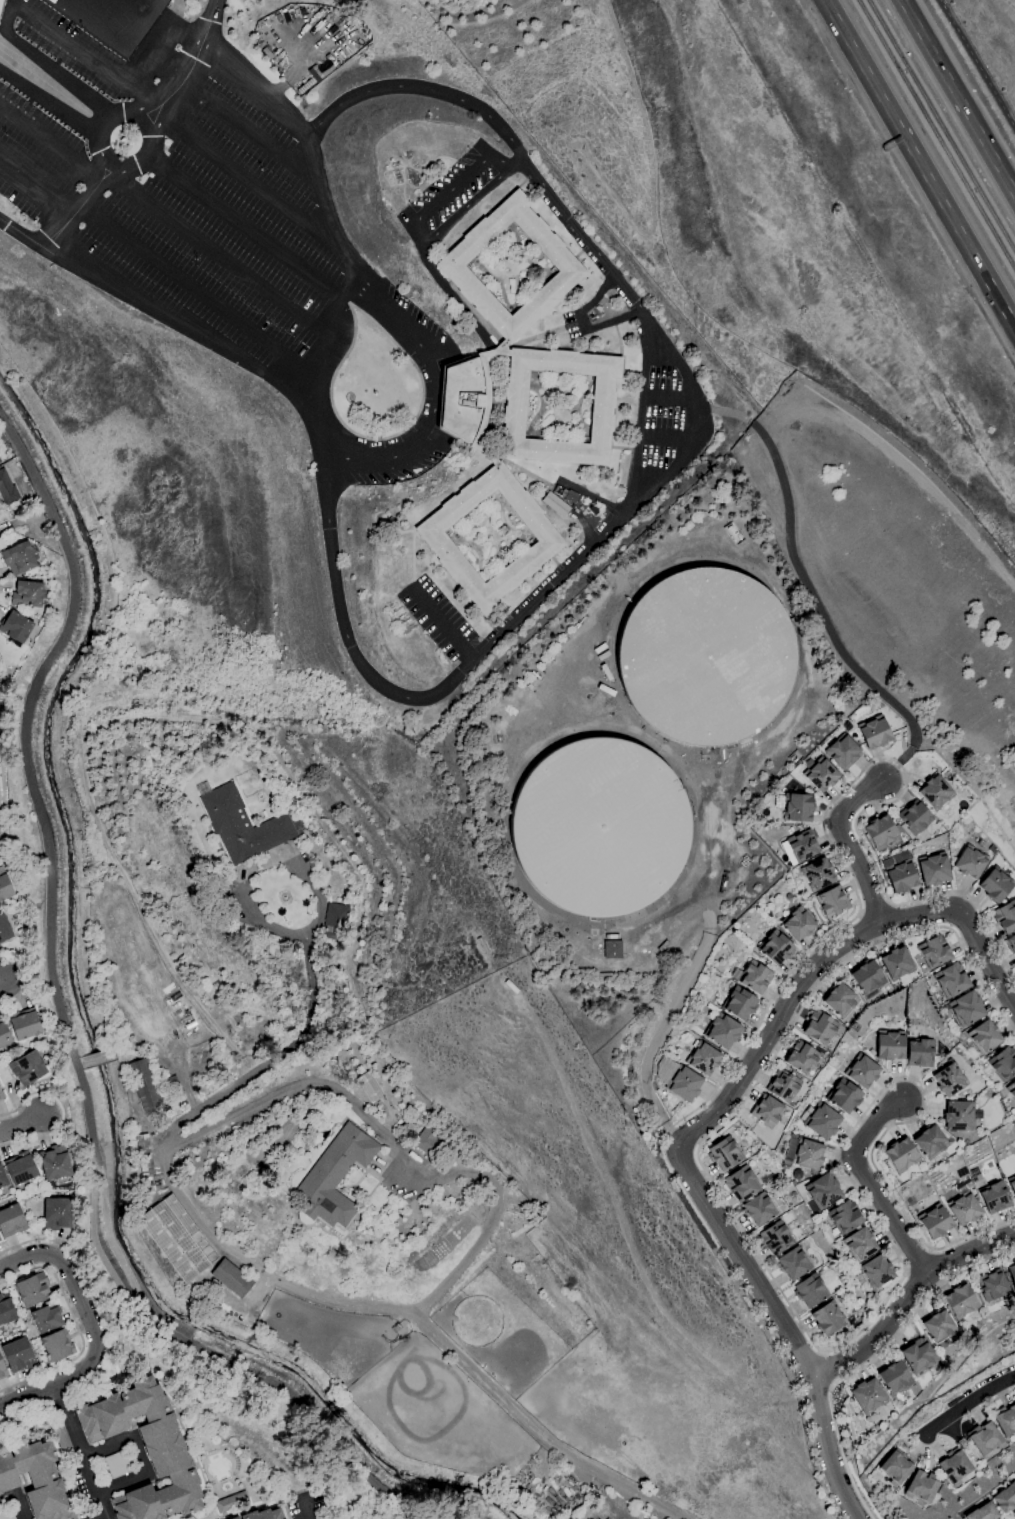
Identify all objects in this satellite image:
road: (11, 1)
building: (1, 5)
road: (214, 10)
park: (114, 11)
road: (86, 52)
road: (46, 64)
road: (977, 64)
road: (190, 65)
road: (958, 97)
road: (49, 101)
road: (151, 110)
railway: (942, 125)
road: (298, 126)
road: (249, 130)
railway: (936, 133)
road: (49, 143)
road: (103, 155)
road: (519, 161)
road: (919, 164)
road: (248, 177)
road: (459, 180)
road: (35, 189)
parking lot: (188, 193)
parking lot: (452, 194)
road: (78, 205)
road: (465, 207)
road: (243, 226)
road: (21, 234)
road: (220, 258)
road: (197, 291)
parking lot: (417, 313)
road: (176, 323)
road: (339, 323)
road: (582, 323)
flagpole: (374, 392)
road: (667, 399)
building: (511, 403)
road: (722, 411)
road: (642, 415)
parking lot: (662, 415)
road: (430, 417)
road: (663, 438)
building: (0, 461)
parking lot: (399, 471)
road: (666, 475)
building: (7, 489)
building: (556, 489)
building: (569, 496)
building: (554, 504)
building: (593, 510)
building: (733, 533)
building: (18, 558)
building: (27, 594)
road: (812, 597)
parking lot: (438, 618)
road: (443, 626)
building: (15, 627)
building: (707, 657)
storage tank: (707, 657)
building: (874, 732)
building: (843, 752)
building: (795, 758)
road: (896, 766)
building: (820, 775)
building: (935, 793)
road: (2, 797)
building: (795, 806)
building: (914, 817)
building: (760, 821)
building: (244, 824)
building: (600, 829)
storage tank: (600, 829)
building: (880, 832)
building: (977, 839)
building: (802, 846)
road: (848, 846)
building: (992, 849)
building: (903, 855)
building: (970, 862)
building: (934, 869)
building: (899, 873)
building: (817, 874)
building: (5, 885)
building: (996, 885)
road: (889, 899)
building: (833, 902)
building: (1005, 917)
building: (335, 921)
building: (798, 924)
building: (4, 928)
building: (611, 937)
road: (824, 939)
building: (1010, 944)
building: (775, 948)
building: (612, 950)
building: (934, 951)
road: (986, 959)
building: (896, 963)
building: (755, 977)
building: (867, 979)
road: (2, 980)
road: (25, 980)
building: (951, 980)
road: (791, 995)
building: (839, 1000)
building: (739, 1004)
building: (966, 1008)
building: (25, 1024)
building: (819, 1027)
building: (367, 1029)
road: (661, 1030)
building: (722, 1031)
building: (4, 1034)
building: (984, 1037)
road: (69, 1041)
road: (144, 1045)
building: (890, 1045)
building: (920, 1053)
building: (801, 1058)
road: (98, 1059)
building: (703, 1059)
road: (273, 1060)
building: (1003, 1063)
road: (79, 1064)
building: (28, 1068)
building: (862, 1072)
road: (181, 1074)
building: (949, 1080)
building: (684, 1084)
building: (145, 1085)
building: (783, 1086)
building: (369, 1087)
building: (1011, 1090)
building: (1, 1094)
building: (844, 1097)
building: (0, 1099)
road: (63, 1111)
building: (766, 1111)
building: (959, 1116)
building: (822, 1122)
road: (21, 1125)
building: (428, 1141)
building: (930, 1142)
road: (396, 1153)
building: (724, 1153)
building: (808, 1153)
building: (145, 1154)
building: (901, 1155)
building: (55, 1162)
building: (21, 1168)
building: (335, 1176)
building: (3, 1177)
road: (867, 1182)
building: (741, 1183)
building: (1012, 1184)
building: (823, 1190)
building: (995, 1197)
building: (963, 1208)
building: (759, 1209)
building: (57, 1213)
building: (844, 1217)
building: (12, 1221)
building: (935, 1222)
building: (174, 1238)
building: (775, 1238)
building: (860, 1244)
road: (930, 1251)
building: (847, 1259)
road: (919, 1262)
building: (793, 1263)
building: (875, 1272)
road: (906, 1272)
building: (1012, 1274)
building: (232, 1279)
building: (992, 1285)
building: (33, 1289)
building: (810, 1291)
road: (906, 1297)
building: (841, 1298)
building: (960, 1301)
building: (6, 1310)
building: (46, 1318)
building: (828, 1318)
road: (421, 1320)
road: (92, 1326)
building: (938, 1326)
road: (76, 1327)
road: (105, 1327)
road: (783, 1330)
road: (810, 1340)
building: (57, 1345)
road: (821, 1354)
building: (18, 1355)
building: (918, 1356)
road: (869, 1361)
building: (2, 1369)
road: (825, 1371)
building: (894, 1377)
road: (830, 1387)
road: (56, 1391)
building: (867, 1396)
road: (968, 1403)
building: (1005, 1419)
building: (984, 1438)
building: (63, 1440)
building: (146, 1450)
road: (138, 1456)
road: (83, 1459)
building: (118, 1464)
building: (954, 1466)
building: (895, 1467)
building: (102, 1470)
building: (35, 1479)
building: (921, 1486)
building: (1005, 1498)
road: (17, 1499)
road: (487, 1500)
building: (232, 1502)
road: (303, 1506)
building: (983, 1512)
building: (263, 1514)
building: (7, 1515)
road: (103, 1517)
building: (325, 1517)
building: (235, 1518)
building: (606, 1518)

